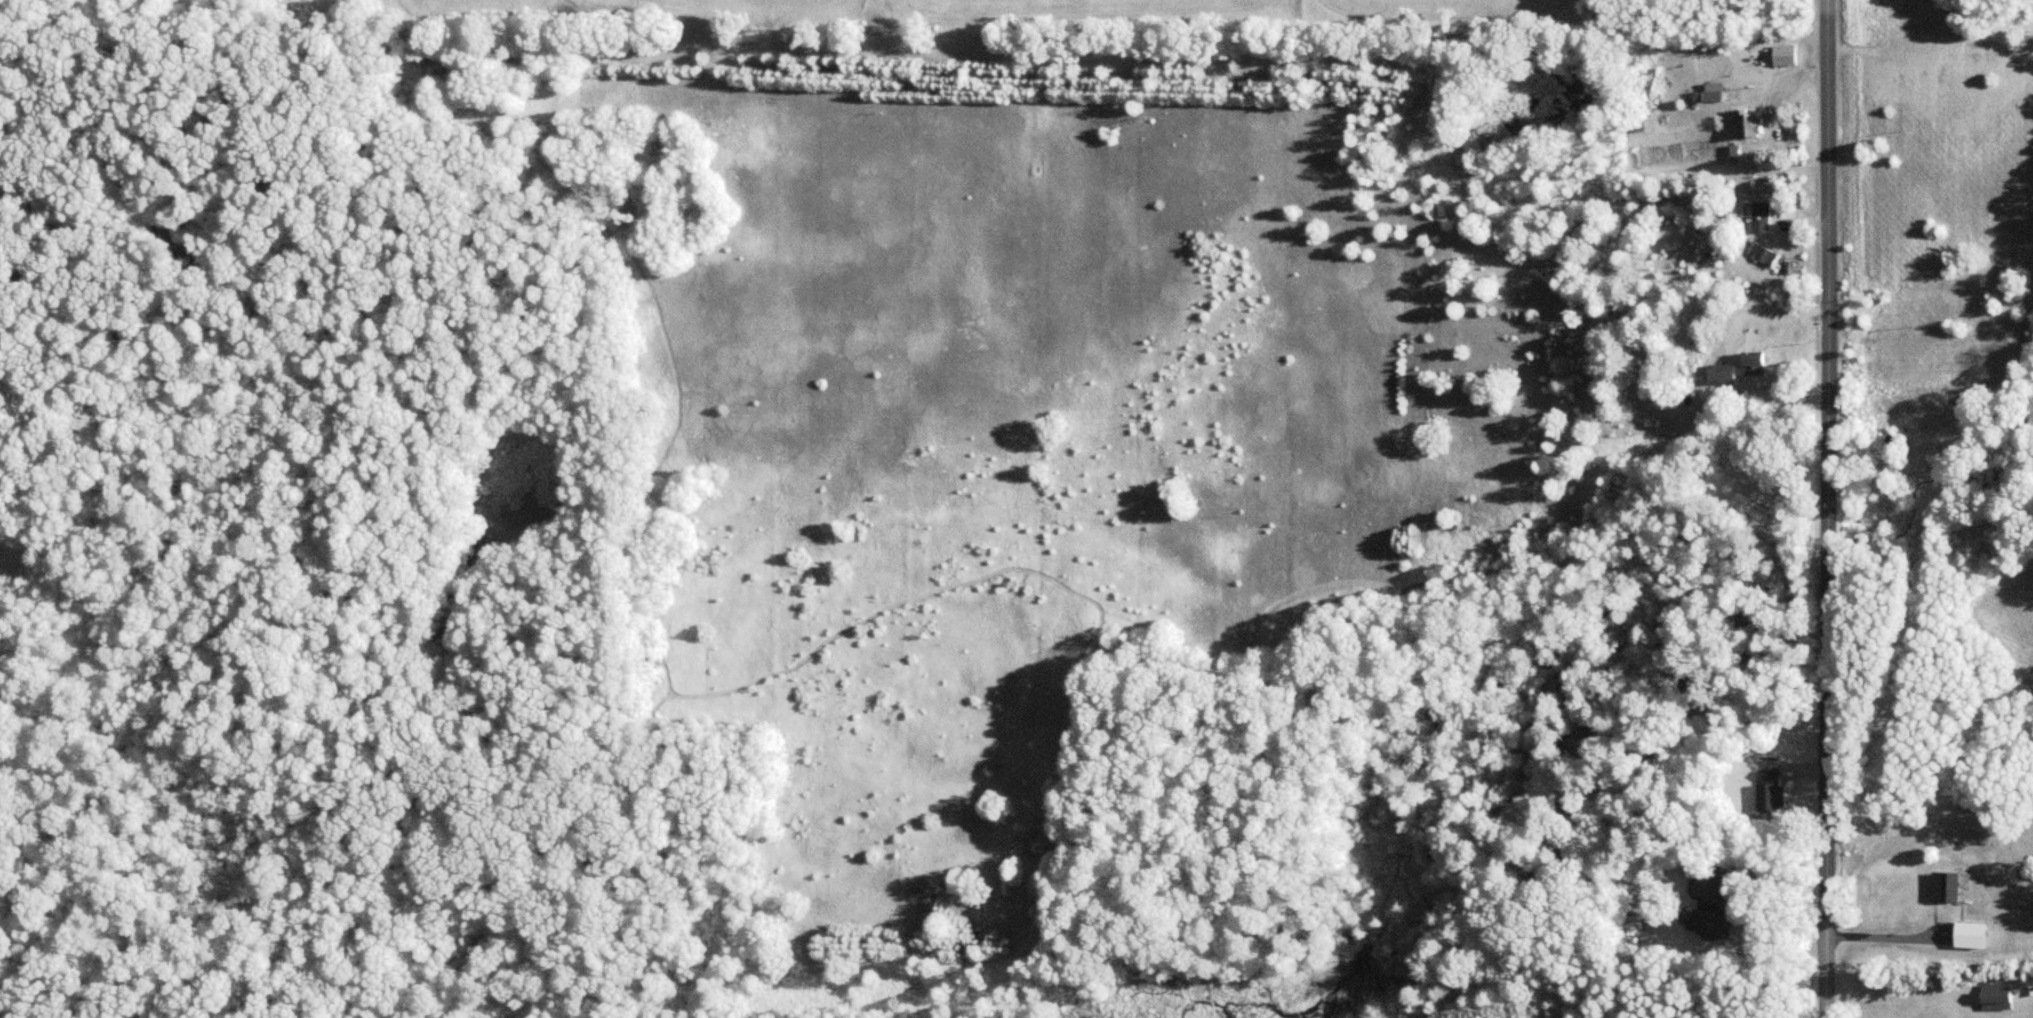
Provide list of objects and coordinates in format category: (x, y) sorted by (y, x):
building: (1784, 55)
building: (1711, 94)
building: (1749, 125)
building: (1760, 218)
building: (1767, 259)
building: (1739, 369)
road: (1823, 509)
building: (1770, 788)
building: (1705, 885)
building: (1715, 922)
building: (1990, 997)

